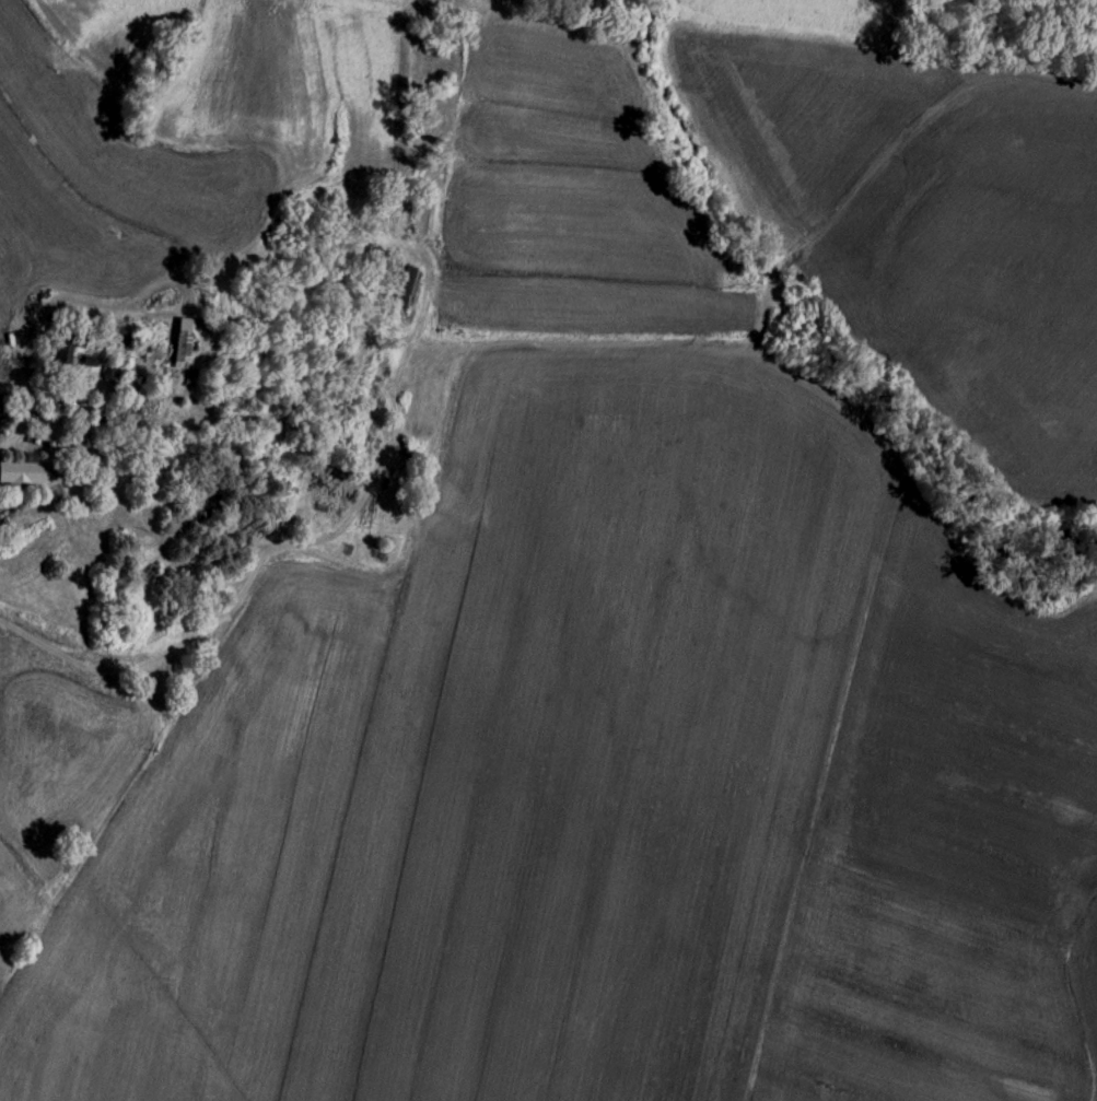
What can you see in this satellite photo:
building: (406, 289)
building: (71, 350)
building: (184, 351)
building: (117, 376)
road: (20, 433)
building: (24, 473)

